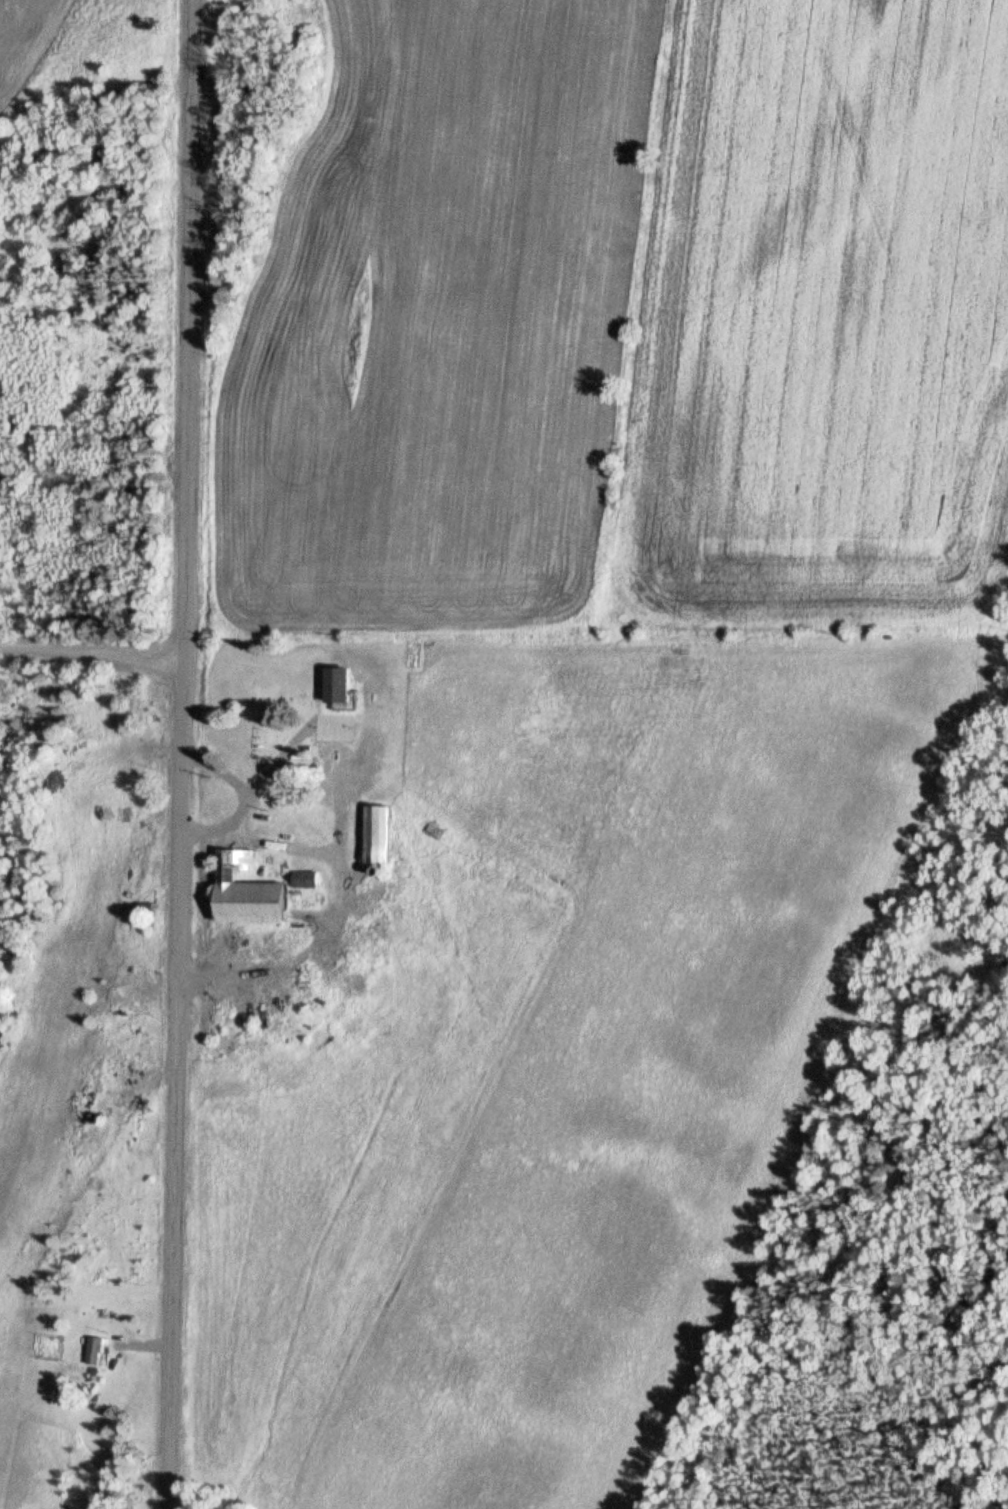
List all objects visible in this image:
road: (90, 660)
building: (337, 686)
road: (178, 754)
building: (248, 894)
building: (94, 1352)

